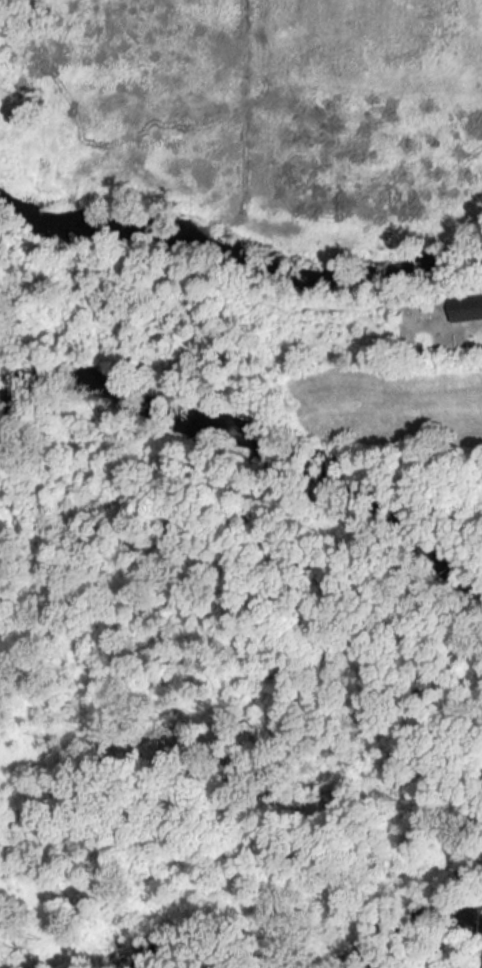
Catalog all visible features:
river: (237, 274)
building: (467, 309)
river: (260, 452)
river: (407, 923)
river: (174, 954)

